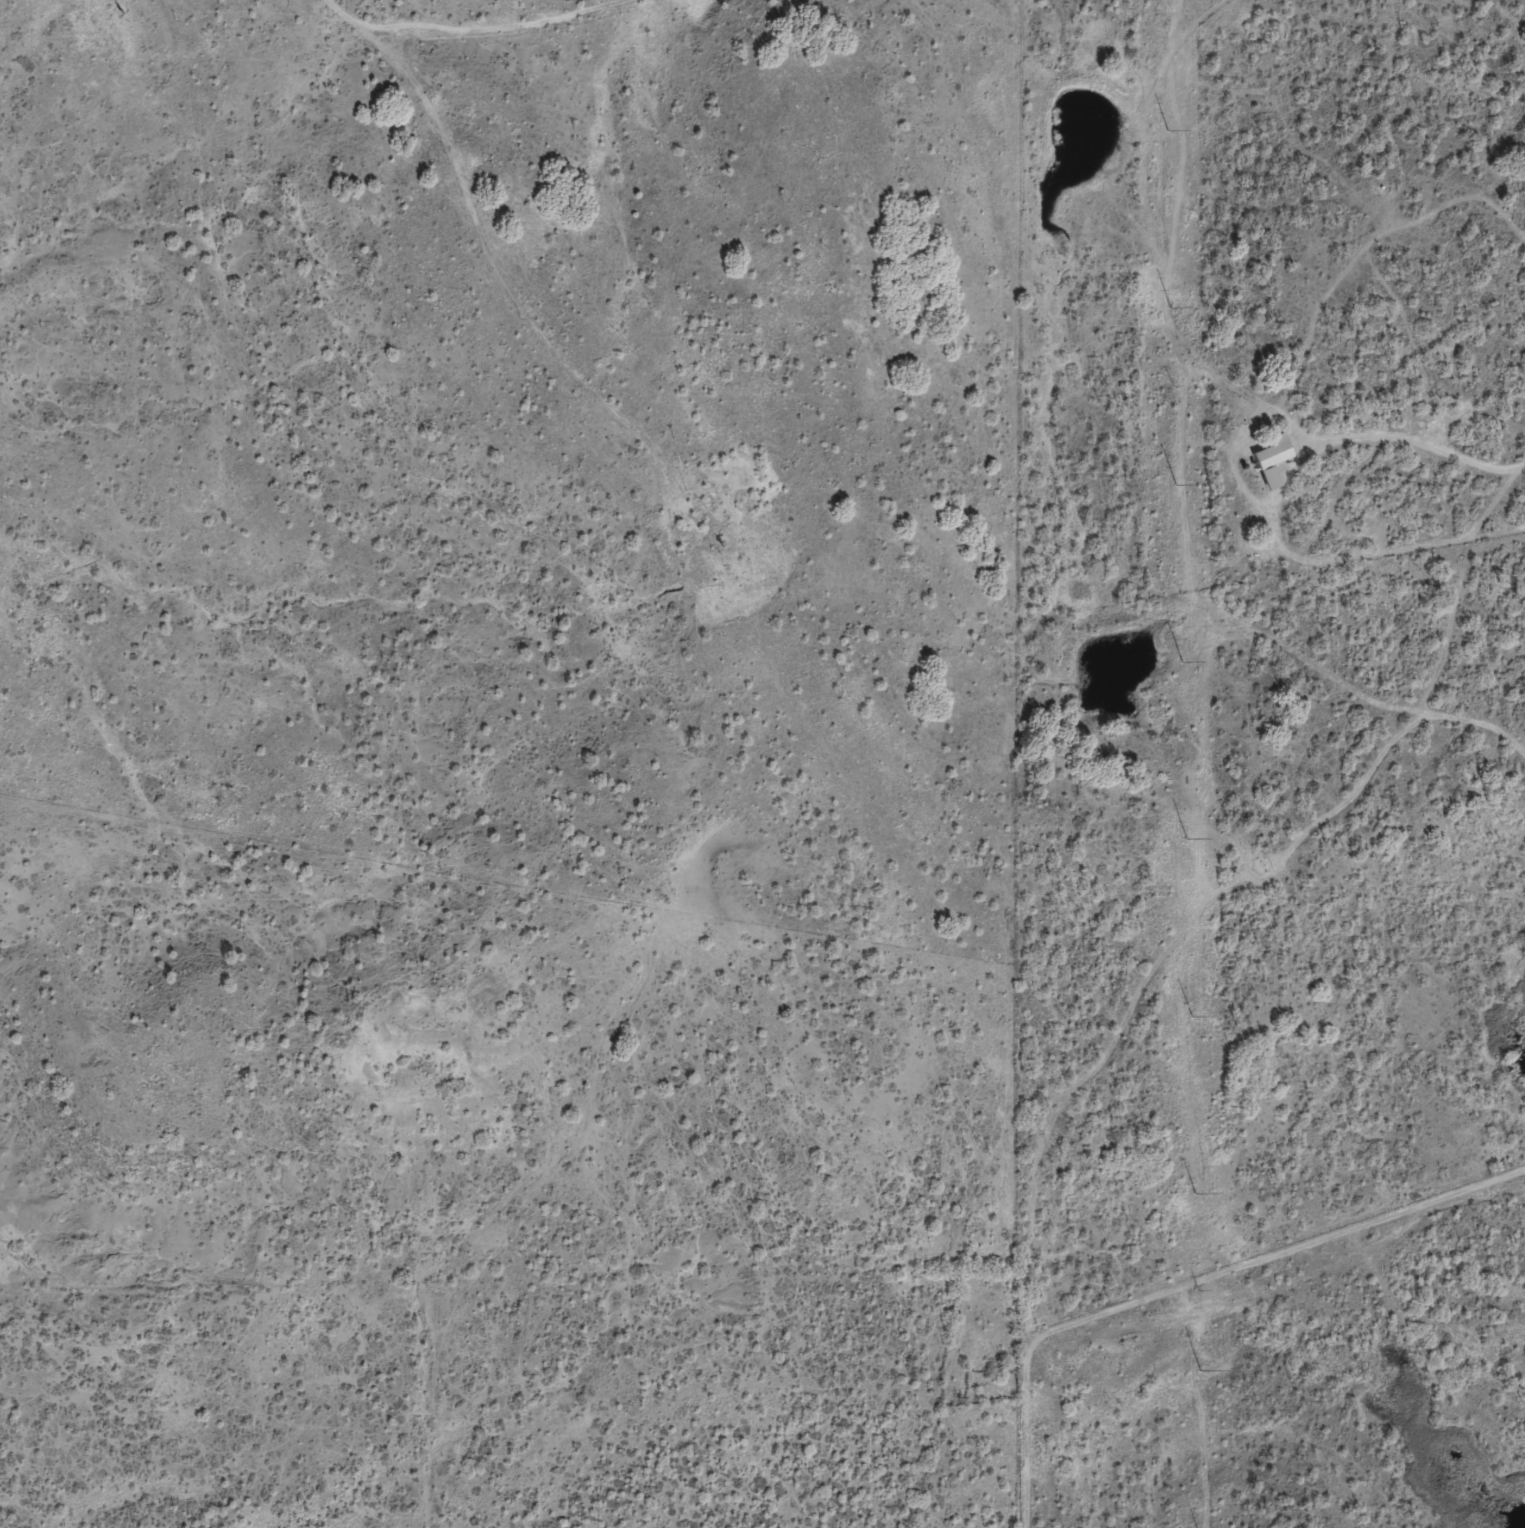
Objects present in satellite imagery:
road: (1416, 450)
building: (1267, 469)

